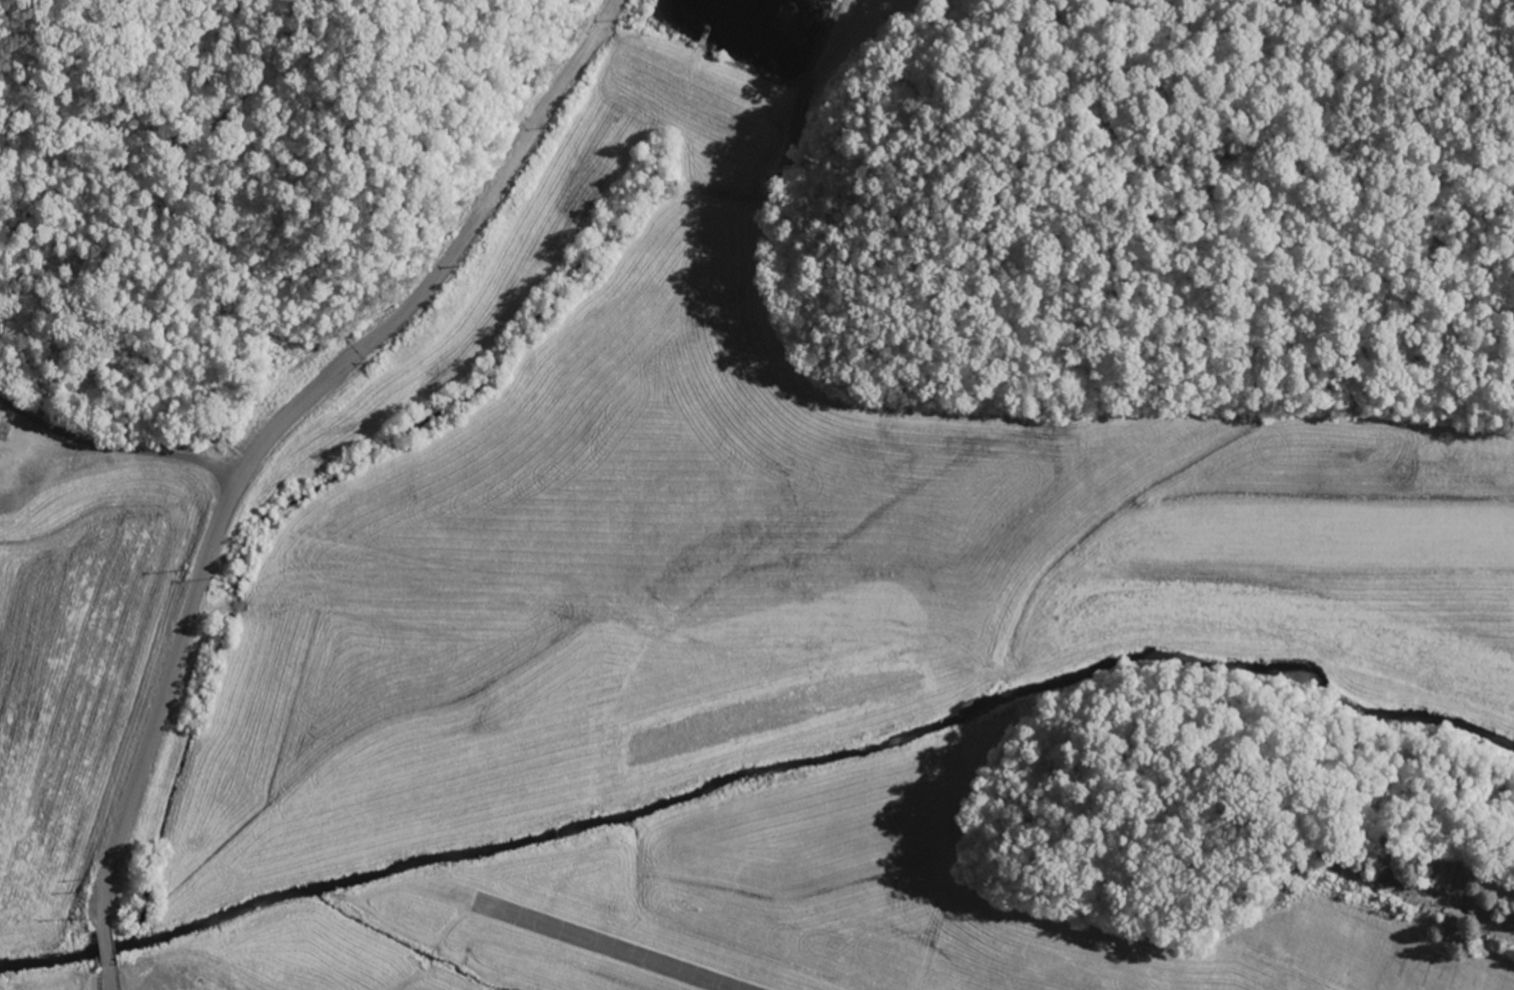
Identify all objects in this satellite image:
road: (396, 340)
park: (1403, 866)
airport runway: (604, 948)

